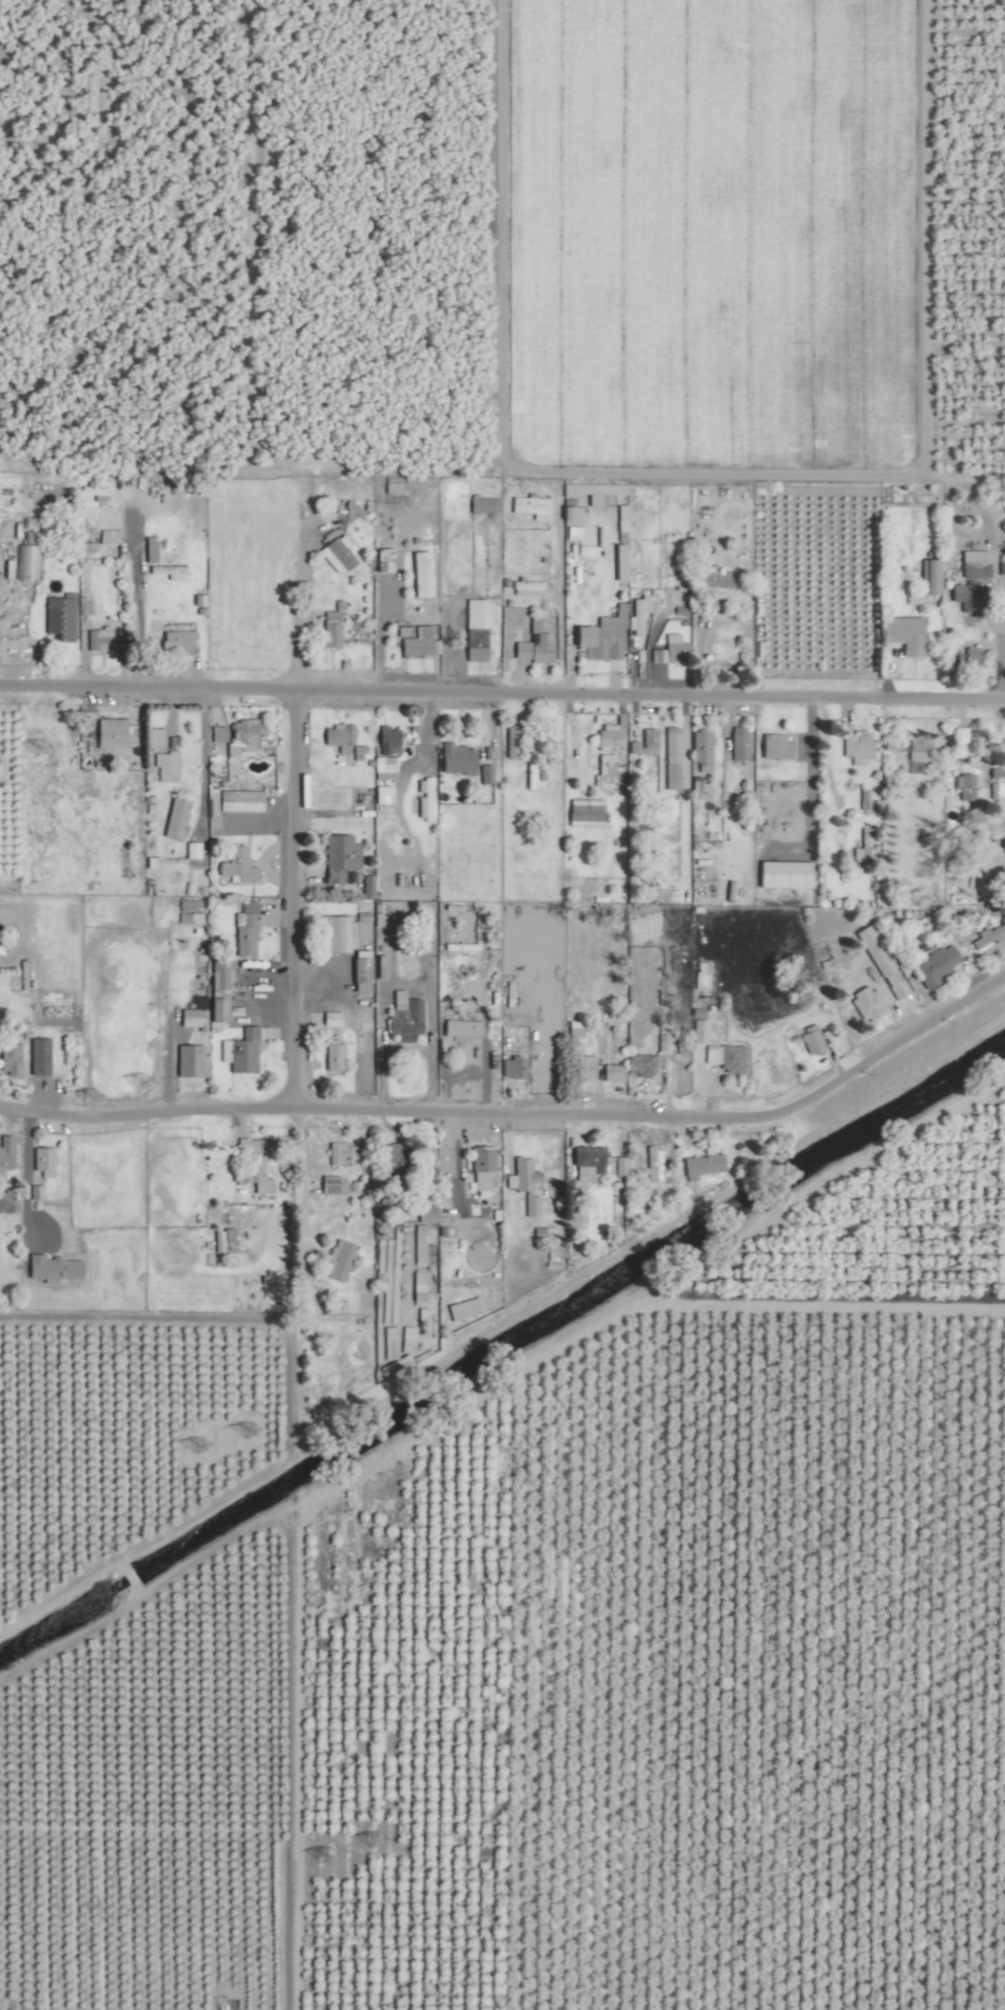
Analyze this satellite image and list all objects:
building: (607, 490)
building: (93, 493)
building: (484, 504)
building: (528, 507)
building: (569, 517)
building: (570, 534)
building: (106, 538)
building: (148, 550)
building: (335, 554)
building: (381, 561)
building: (27, 563)
building: (973, 564)
building: (166, 572)
building: (419, 576)
building: (928, 577)
building: (718, 580)
building: (962, 596)
building: (83, 607)
building: (636, 615)
building: (58, 618)
building: (329, 630)
building: (901, 635)
building: (600, 637)
building: (174, 639)
building: (96, 640)
building: (415, 644)
building: (532, 646)
building: (667, 651)
road: (1000, 652)
building: (969, 659)
road: (502, 691)
building: (108, 733)
building: (217, 733)
building: (336, 736)
building: (241, 737)
building: (607, 737)
building: (153, 738)
building: (386, 740)
building: (510, 740)
building: (643, 742)
building: (736, 743)
power tower: (38, 746)
building: (772, 746)
building: (855, 746)
building: (917, 748)
building: (701, 751)
building: (669, 758)
building: (454, 759)
building: (164, 766)
building: (383, 768)
building: (607, 772)
building: (483, 774)
building: (965, 786)
building: (381, 795)
building: (422, 799)
building: (238, 801)
building: (582, 812)
building: (174, 818)
building: (190, 850)
building: (338, 857)
building: (235, 866)
building: (781, 874)
building: (365, 886)
road: (293, 889)
building: (188, 912)
building: (244, 929)
building: (339, 933)
building: (988, 935)
building: (423, 941)
building: (458, 947)
building: (880, 962)
building: (934, 966)
building: (358, 971)
building: (865, 1003)
crop: (502, 1005)
building: (403, 1018)
building: (459, 1028)
building: (573, 1028)
building: (698, 1031)
building: (809, 1038)
road: (886, 1039)
building: (660, 1043)
building: (238, 1052)
building: (37, 1056)
building: (331, 1057)
building: (724, 1058)
building: (8, 1059)
building: (187, 1060)
building: (640, 1065)
building: (582, 1069)
building: (610, 1072)
power tower: (138, 1078)
power tower: (91, 1094)
road: (383, 1110)
building: (4, 1152)
building: (339, 1154)
building: (394, 1158)
building: (41, 1161)
building: (585, 1163)
building: (254, 1164)
building: (653, 1164)
building: (618, 1166)
building: (700, 1166)
building: (481, 1168)
building: (327, 1184)
building: (523, 1184)
building: (34, 1192)
building: (6, 1201)
building: (220, 1238)
building: (419, 1257)
building: (337, 1261)
building: (50, 1269)
power tower: (247, 1427)
power tower: (201, 1446)
power tower: (378, 1842)
power tower: (331, 1858)

